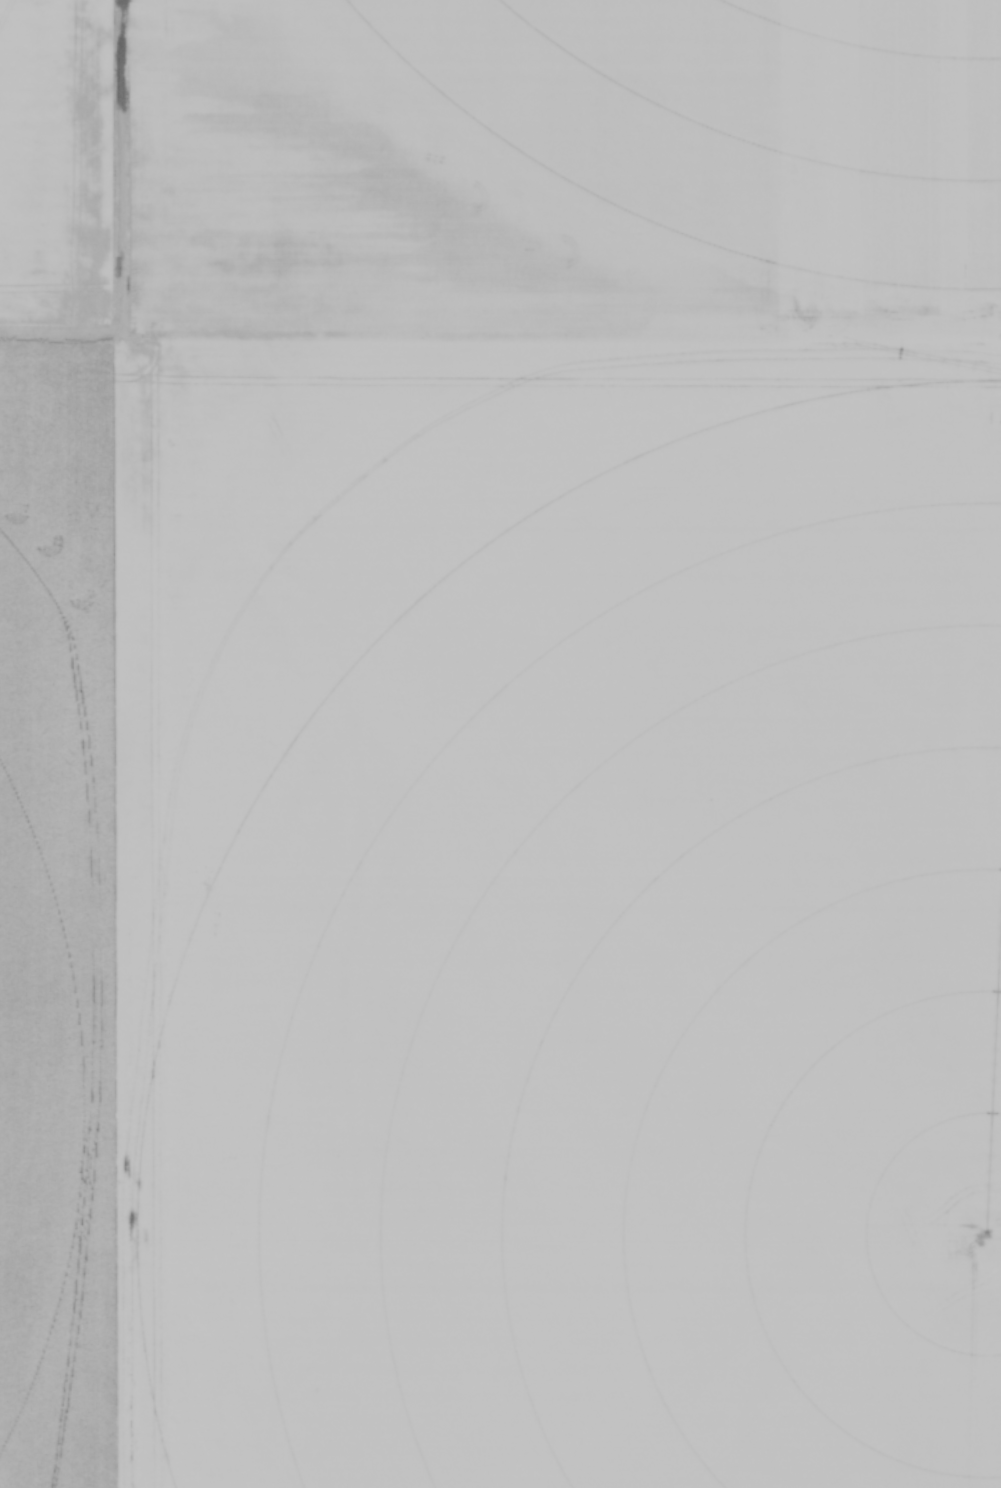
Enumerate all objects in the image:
road: (114, 220)
crop: (500, 744)

